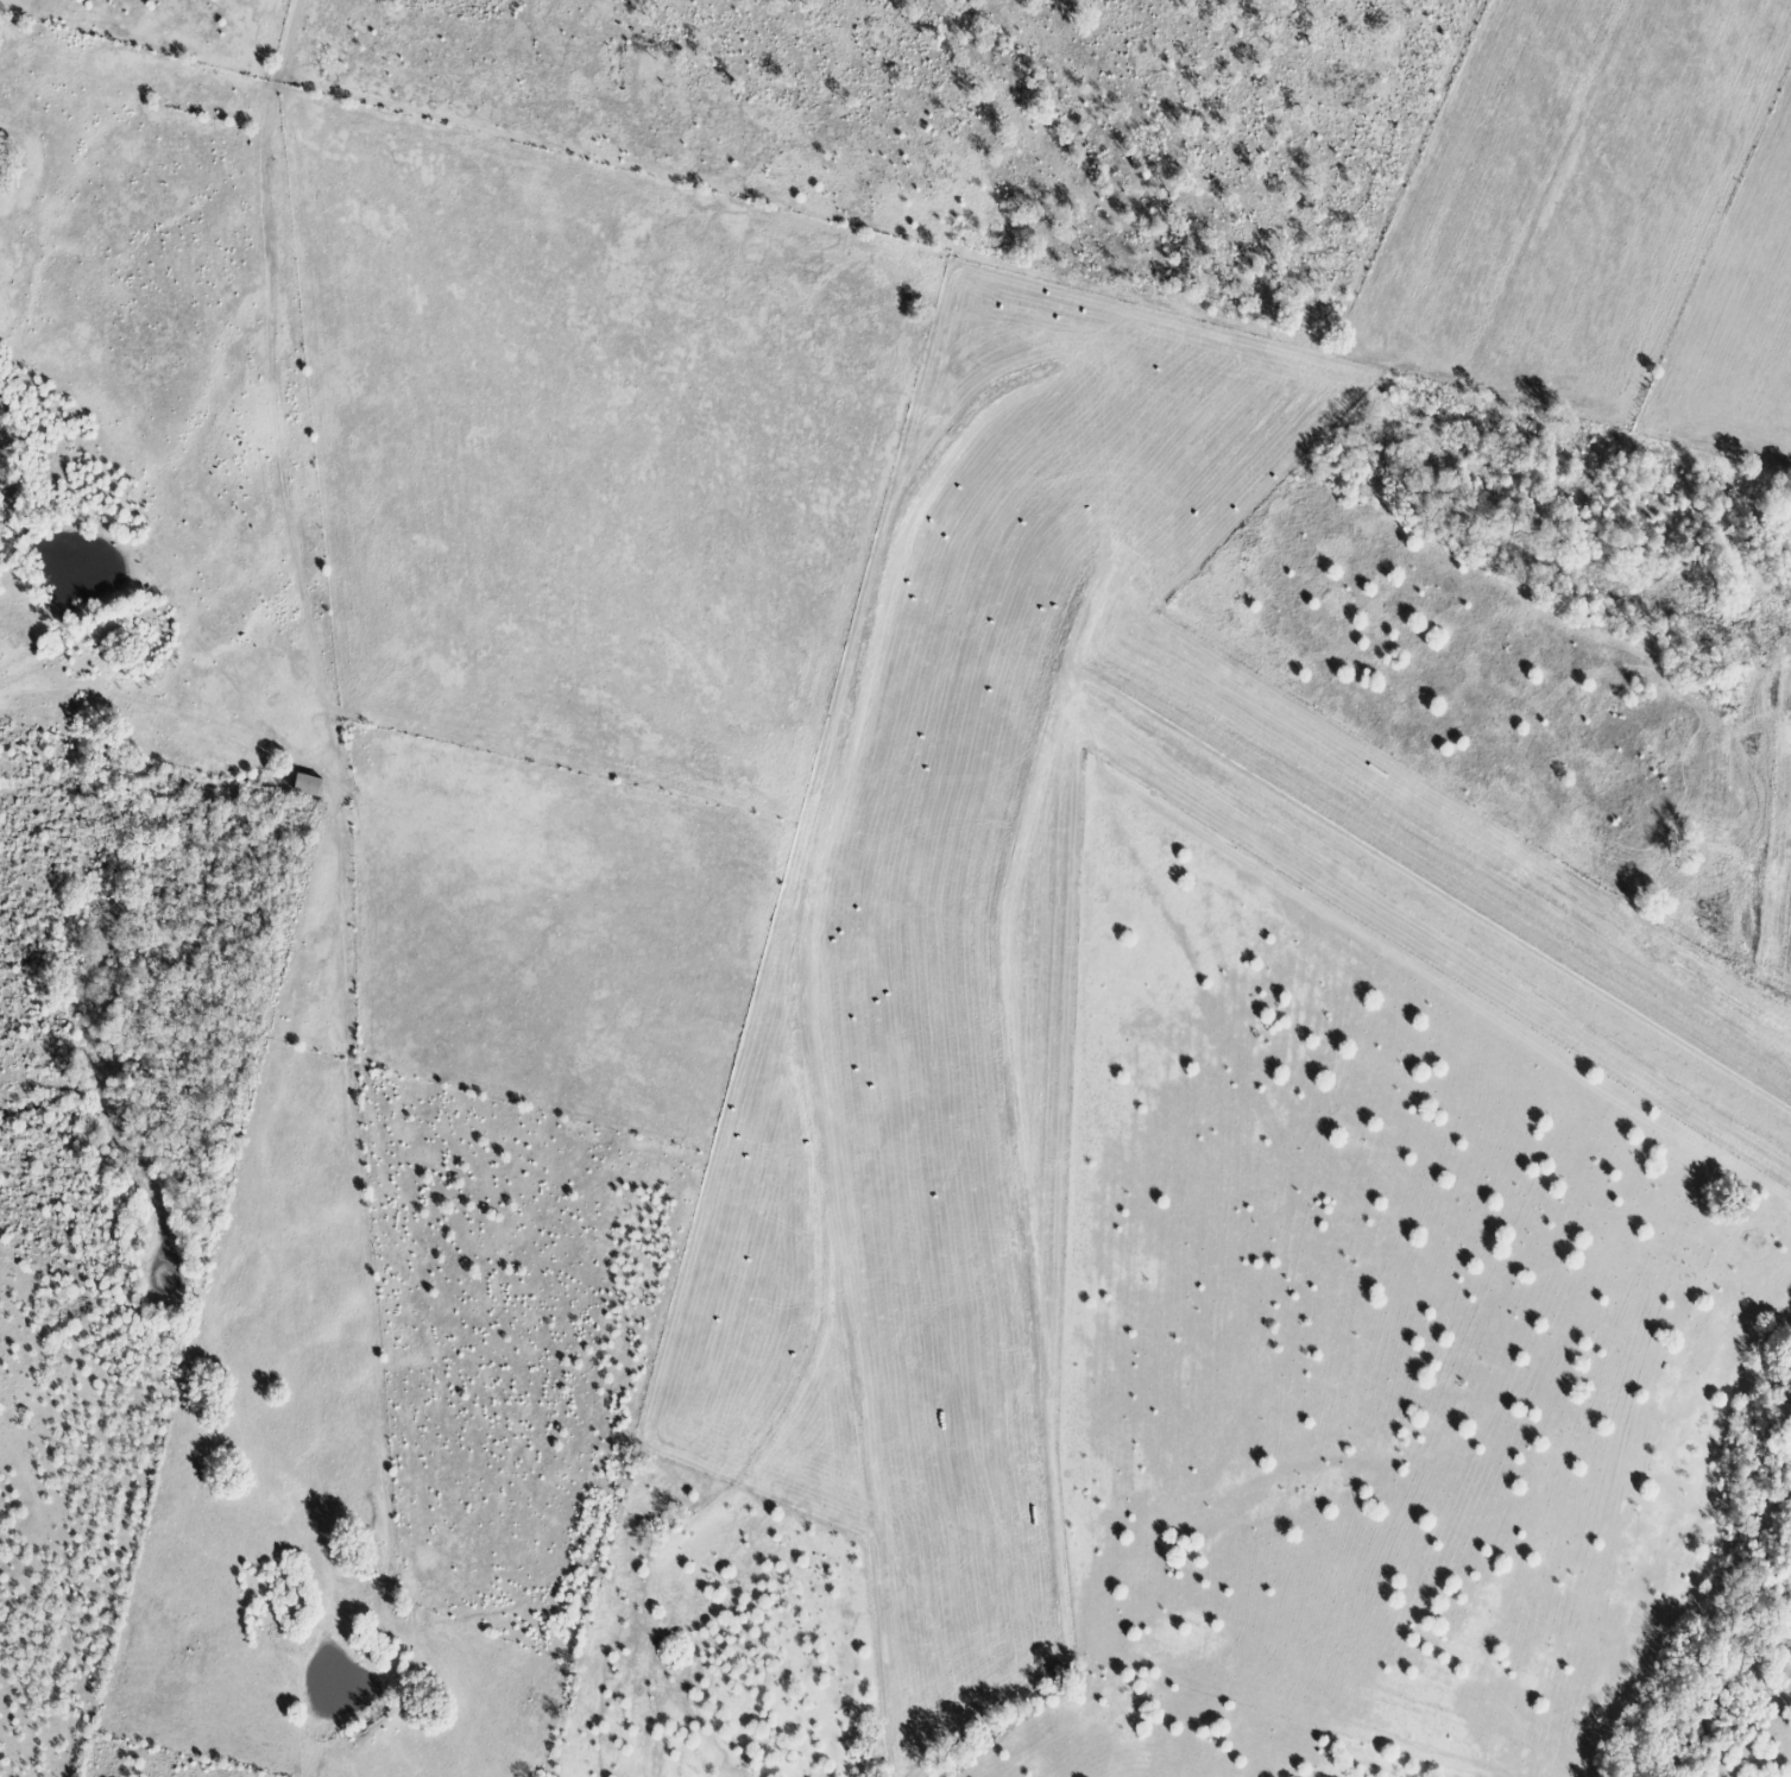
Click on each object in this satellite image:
road: (160, 706)
building: (309, 786)
dam: (1469, 908)

